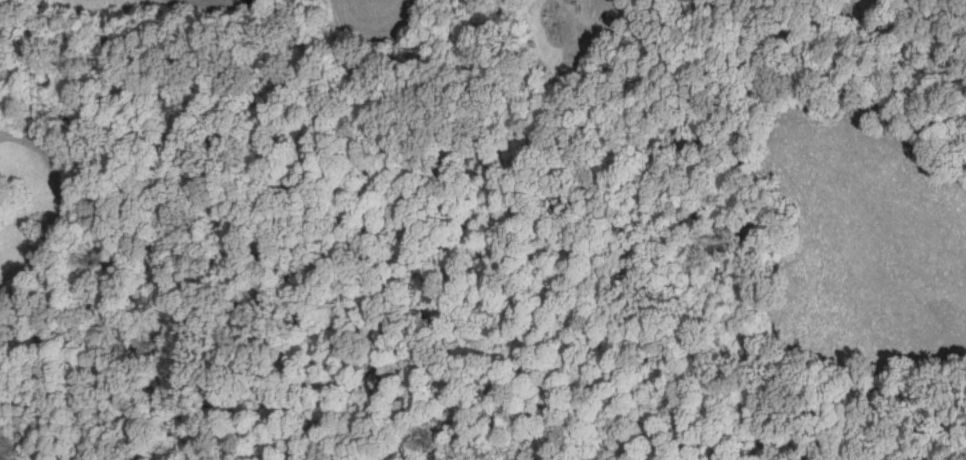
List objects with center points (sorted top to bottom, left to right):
road: (193, 2)

